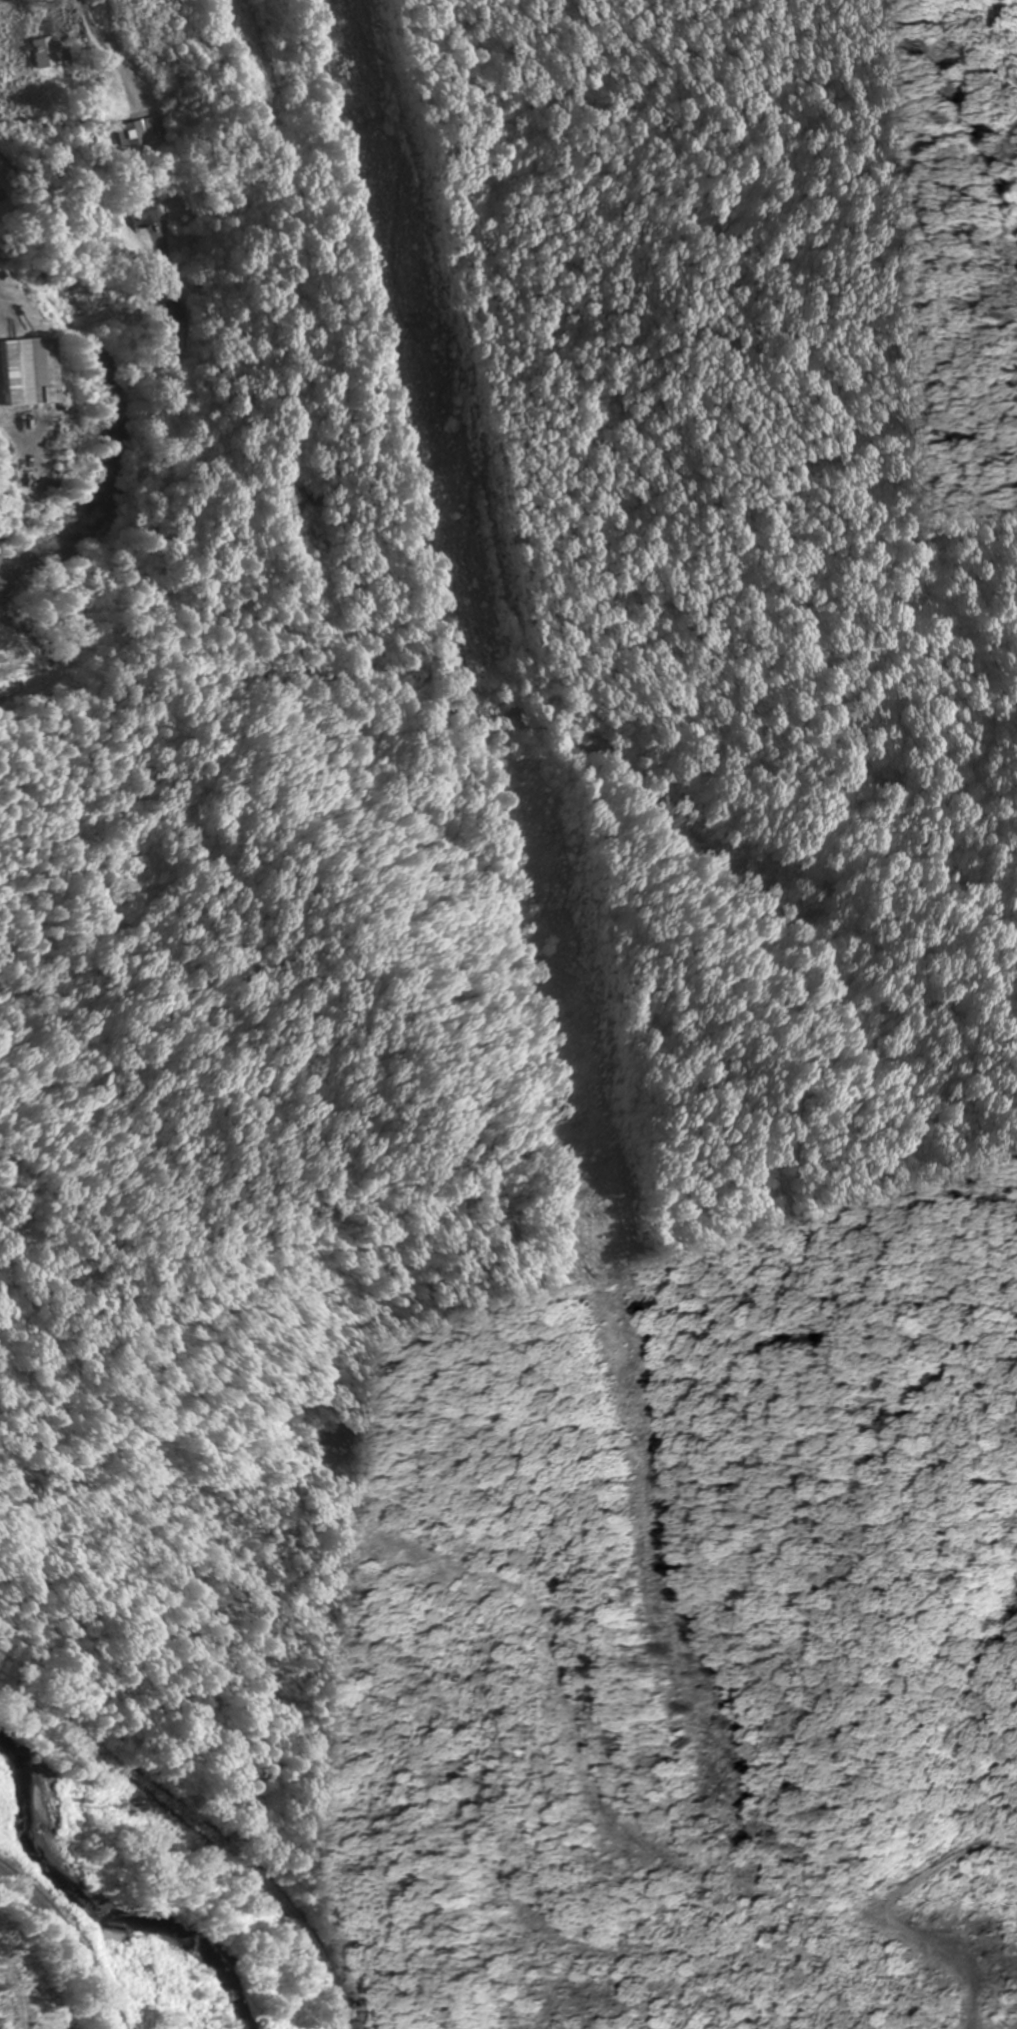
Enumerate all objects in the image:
building: (41, 52)
building: (131, 133)
building: (145, 210)
building: (31, 372)
railway: (219, 1835)
road: (66, 1942)

